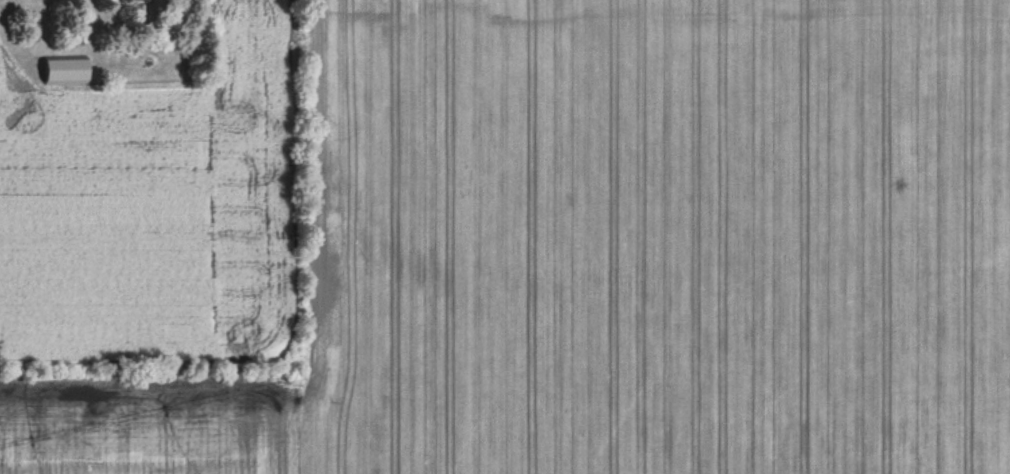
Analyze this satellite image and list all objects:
building: (135, 0)
building: (64, 72)

